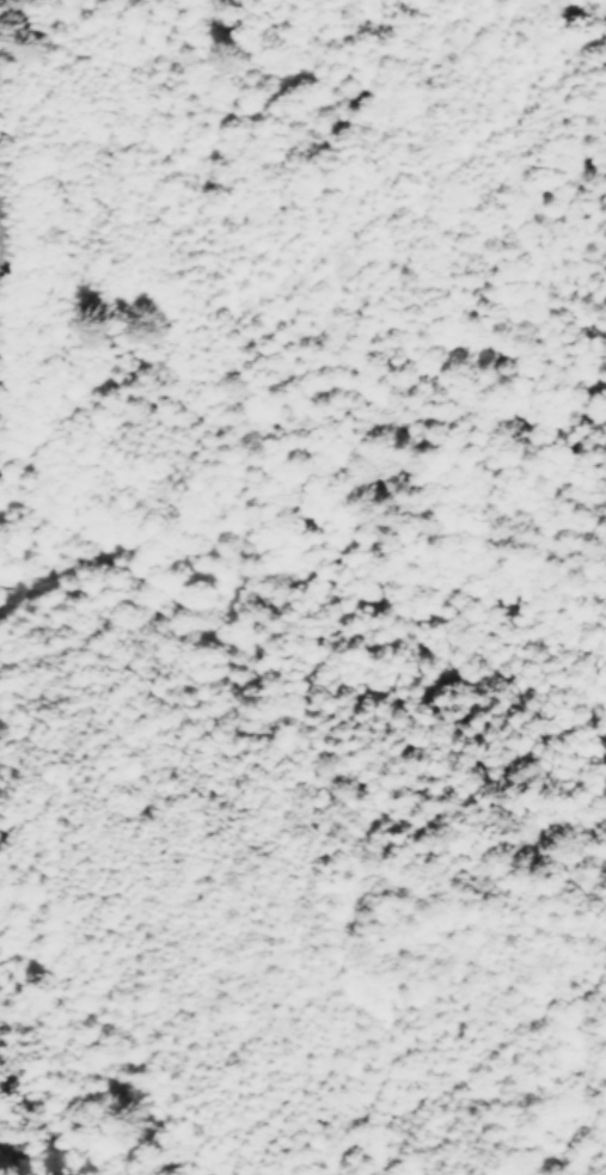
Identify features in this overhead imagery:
road: (540, 1128)

